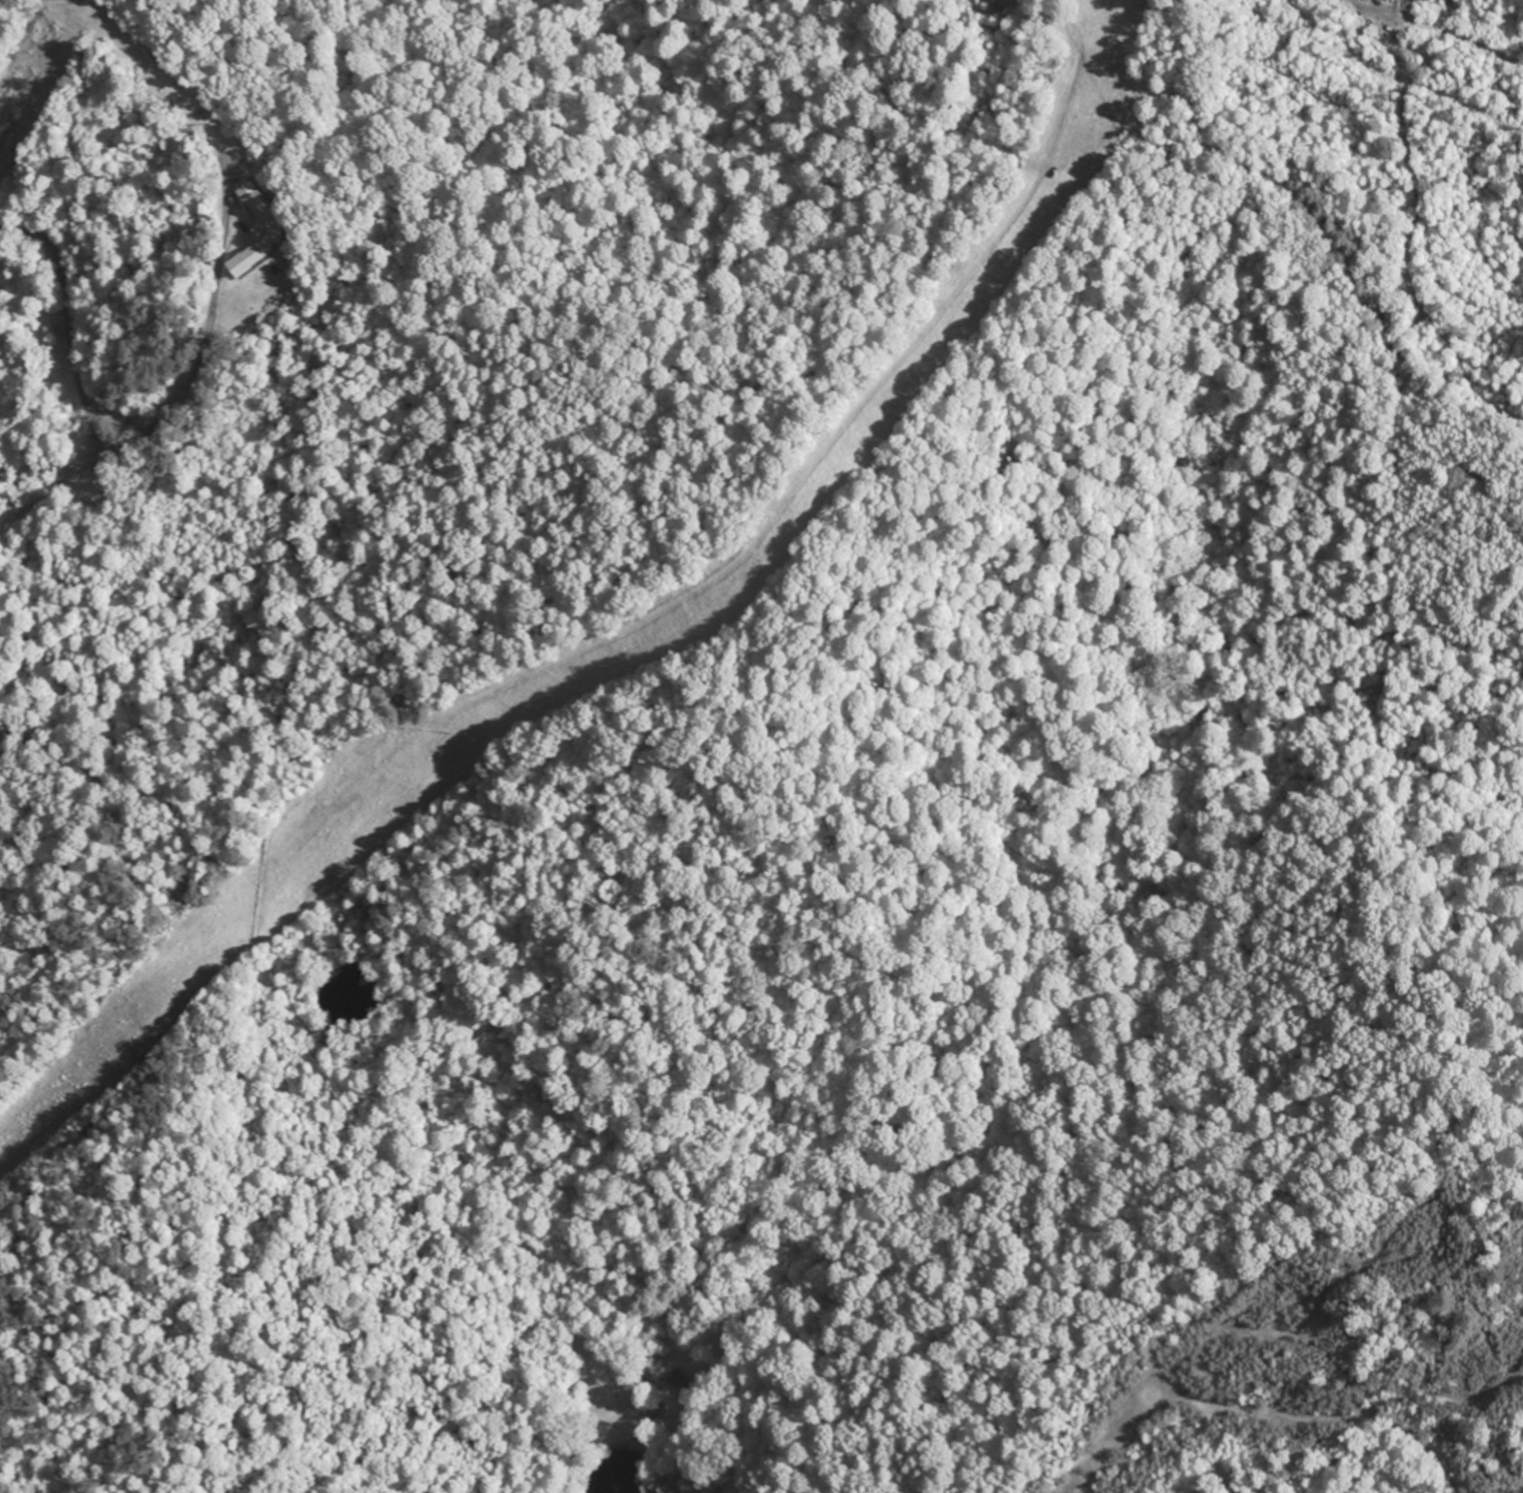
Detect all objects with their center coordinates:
building: (987, 1)
building: (260, 232)
road: (1151, 1362)
building: (677, 1382)

